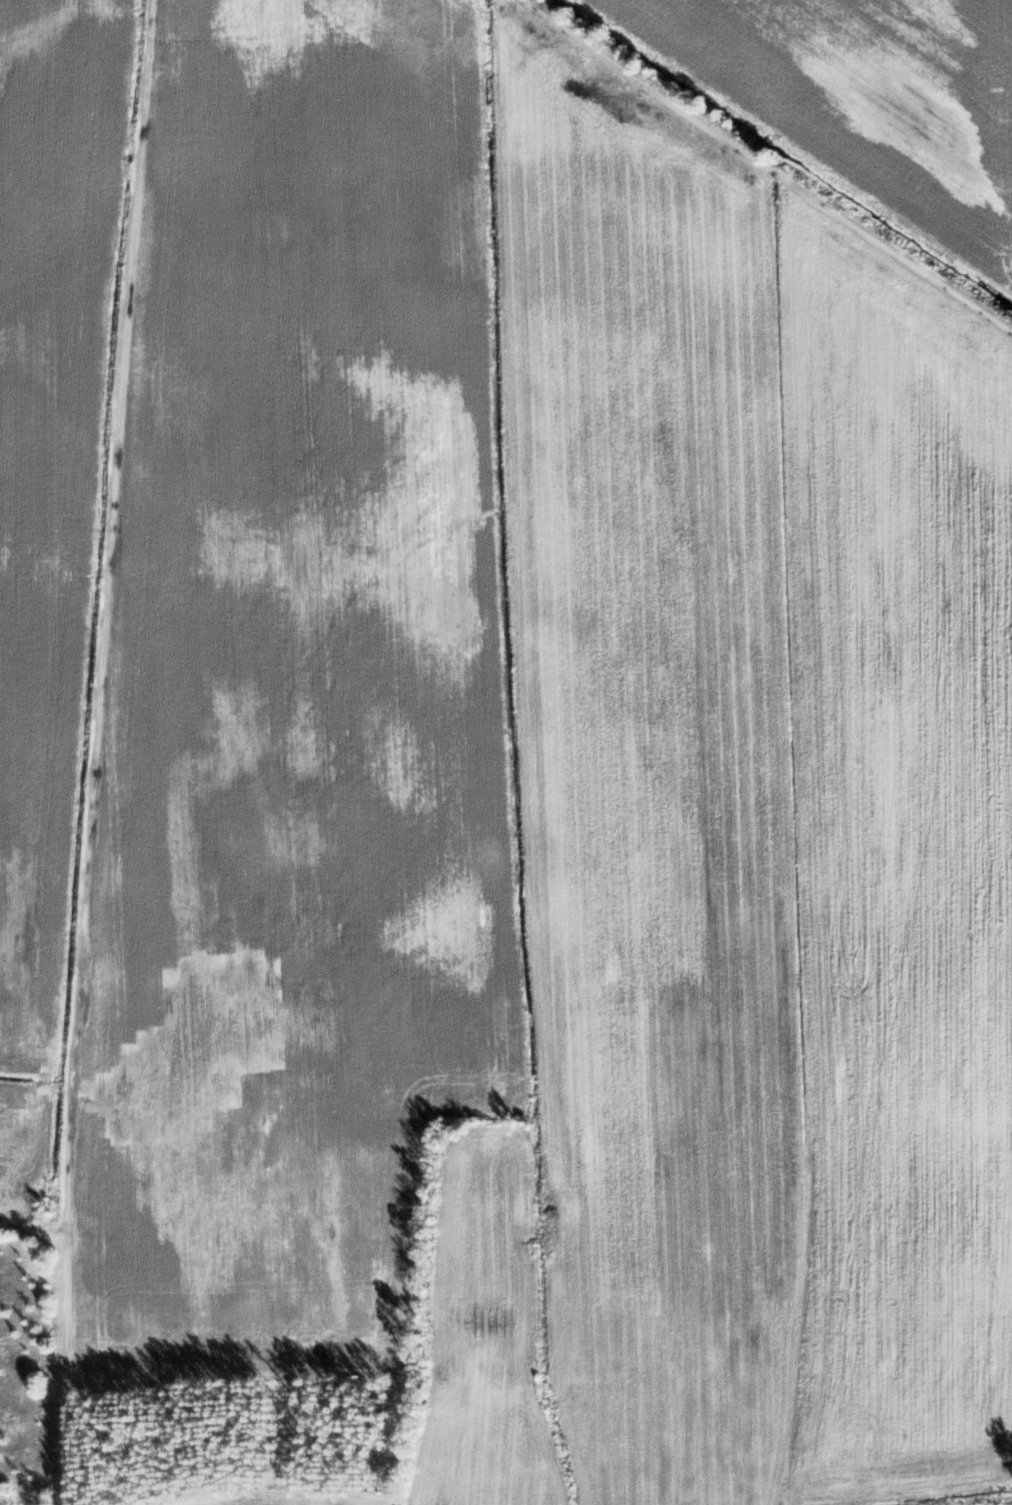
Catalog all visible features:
road: (96, 751)

